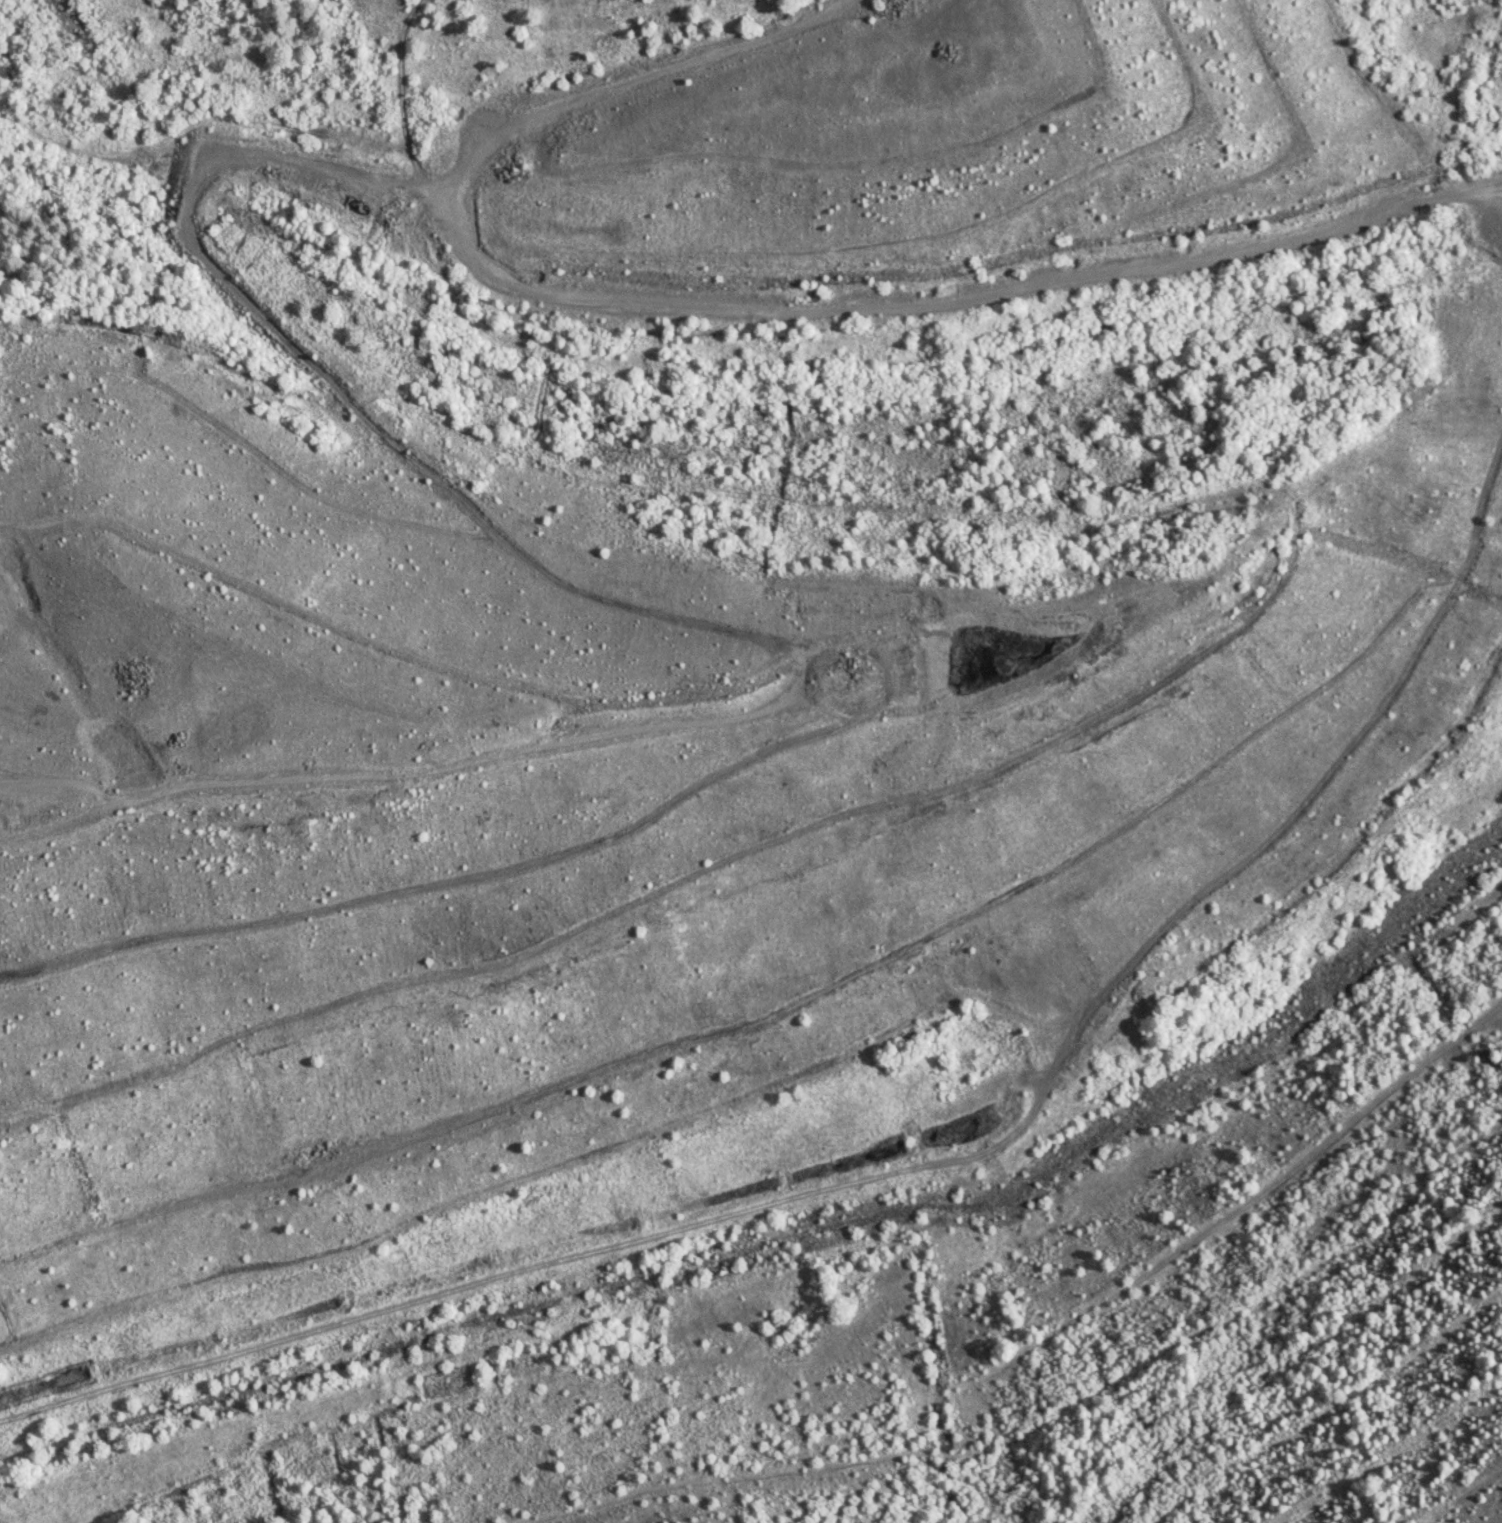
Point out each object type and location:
quarry: (761, 770)

